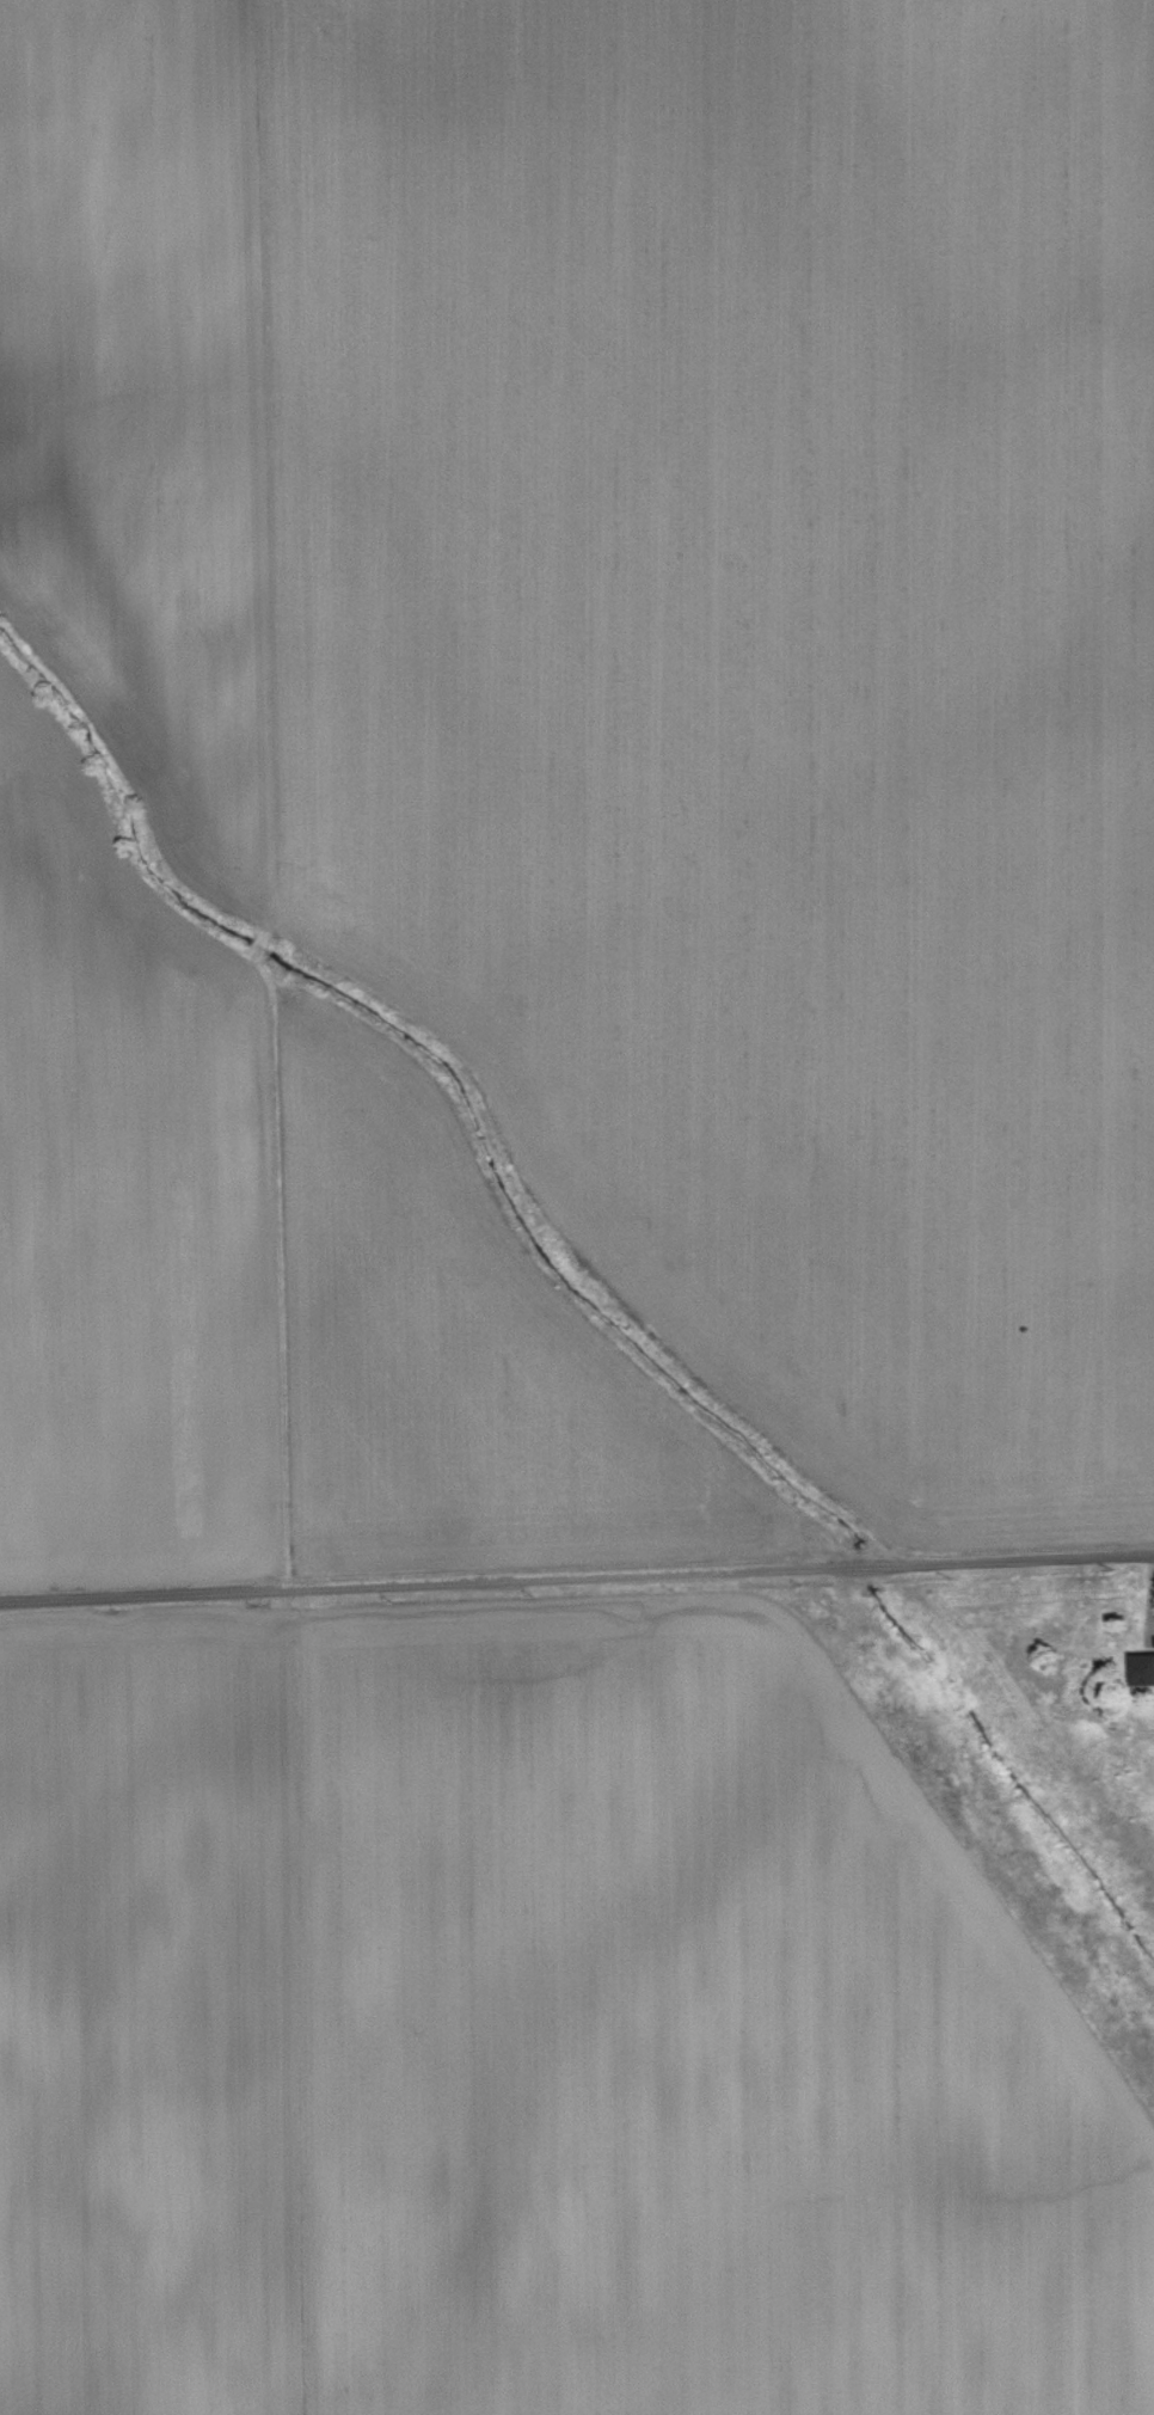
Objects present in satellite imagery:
crop: (577, 1207)
road: (577, 1582)
building: (1138, 1668)

